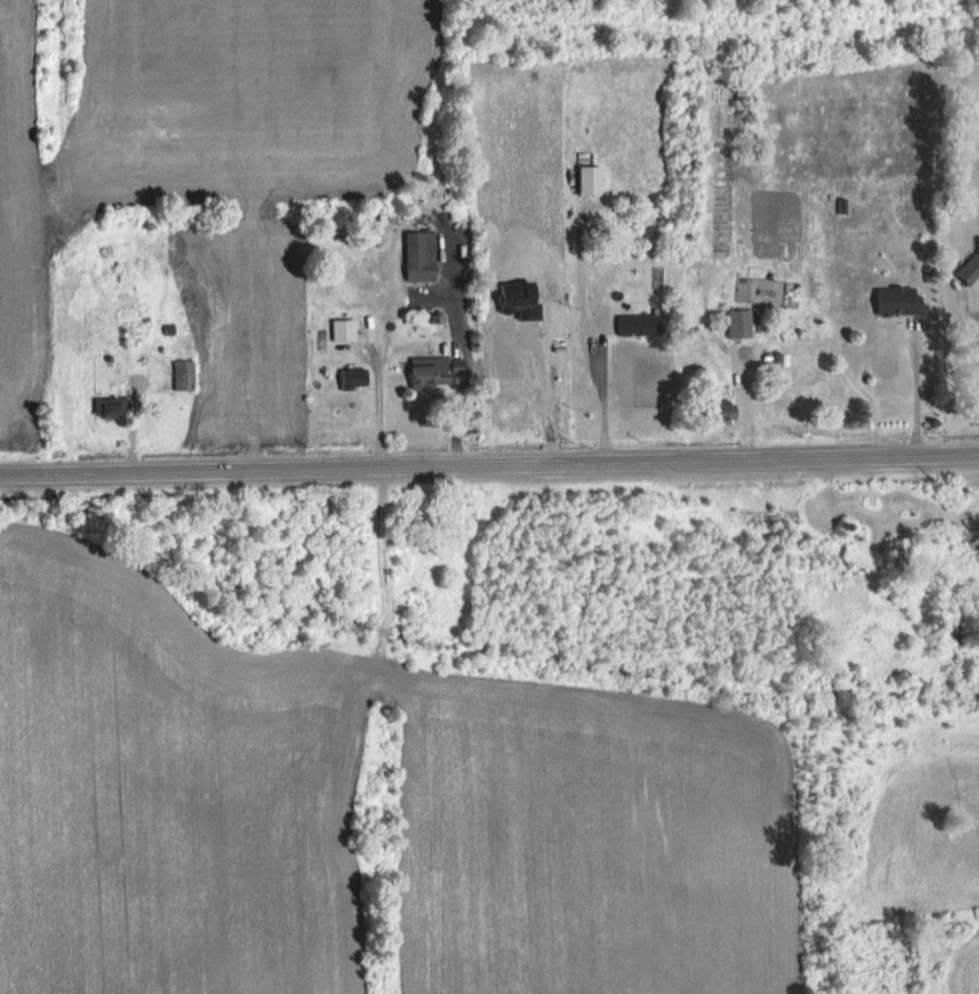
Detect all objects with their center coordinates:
crop: (197, 134)
crop: (571, 251)
building: (418, 257)
building: (969, 266)
building: (895, 302)
building: (737, 326)
building: (637, 327)
building: (341, 331)
road: (467, 373)
building: (431, 374)
building: (180, 376)
building: (351, 380)
road: (915, 389)
road: (547, 400)
road: (602, 405)
building: (106, 409)
building: (718, 414)
road: (489, 467)
building: (898, 554)
crop: (168, 790)
crop: (926, 839)
crop: (591, 842)
crop: (962, 971)

